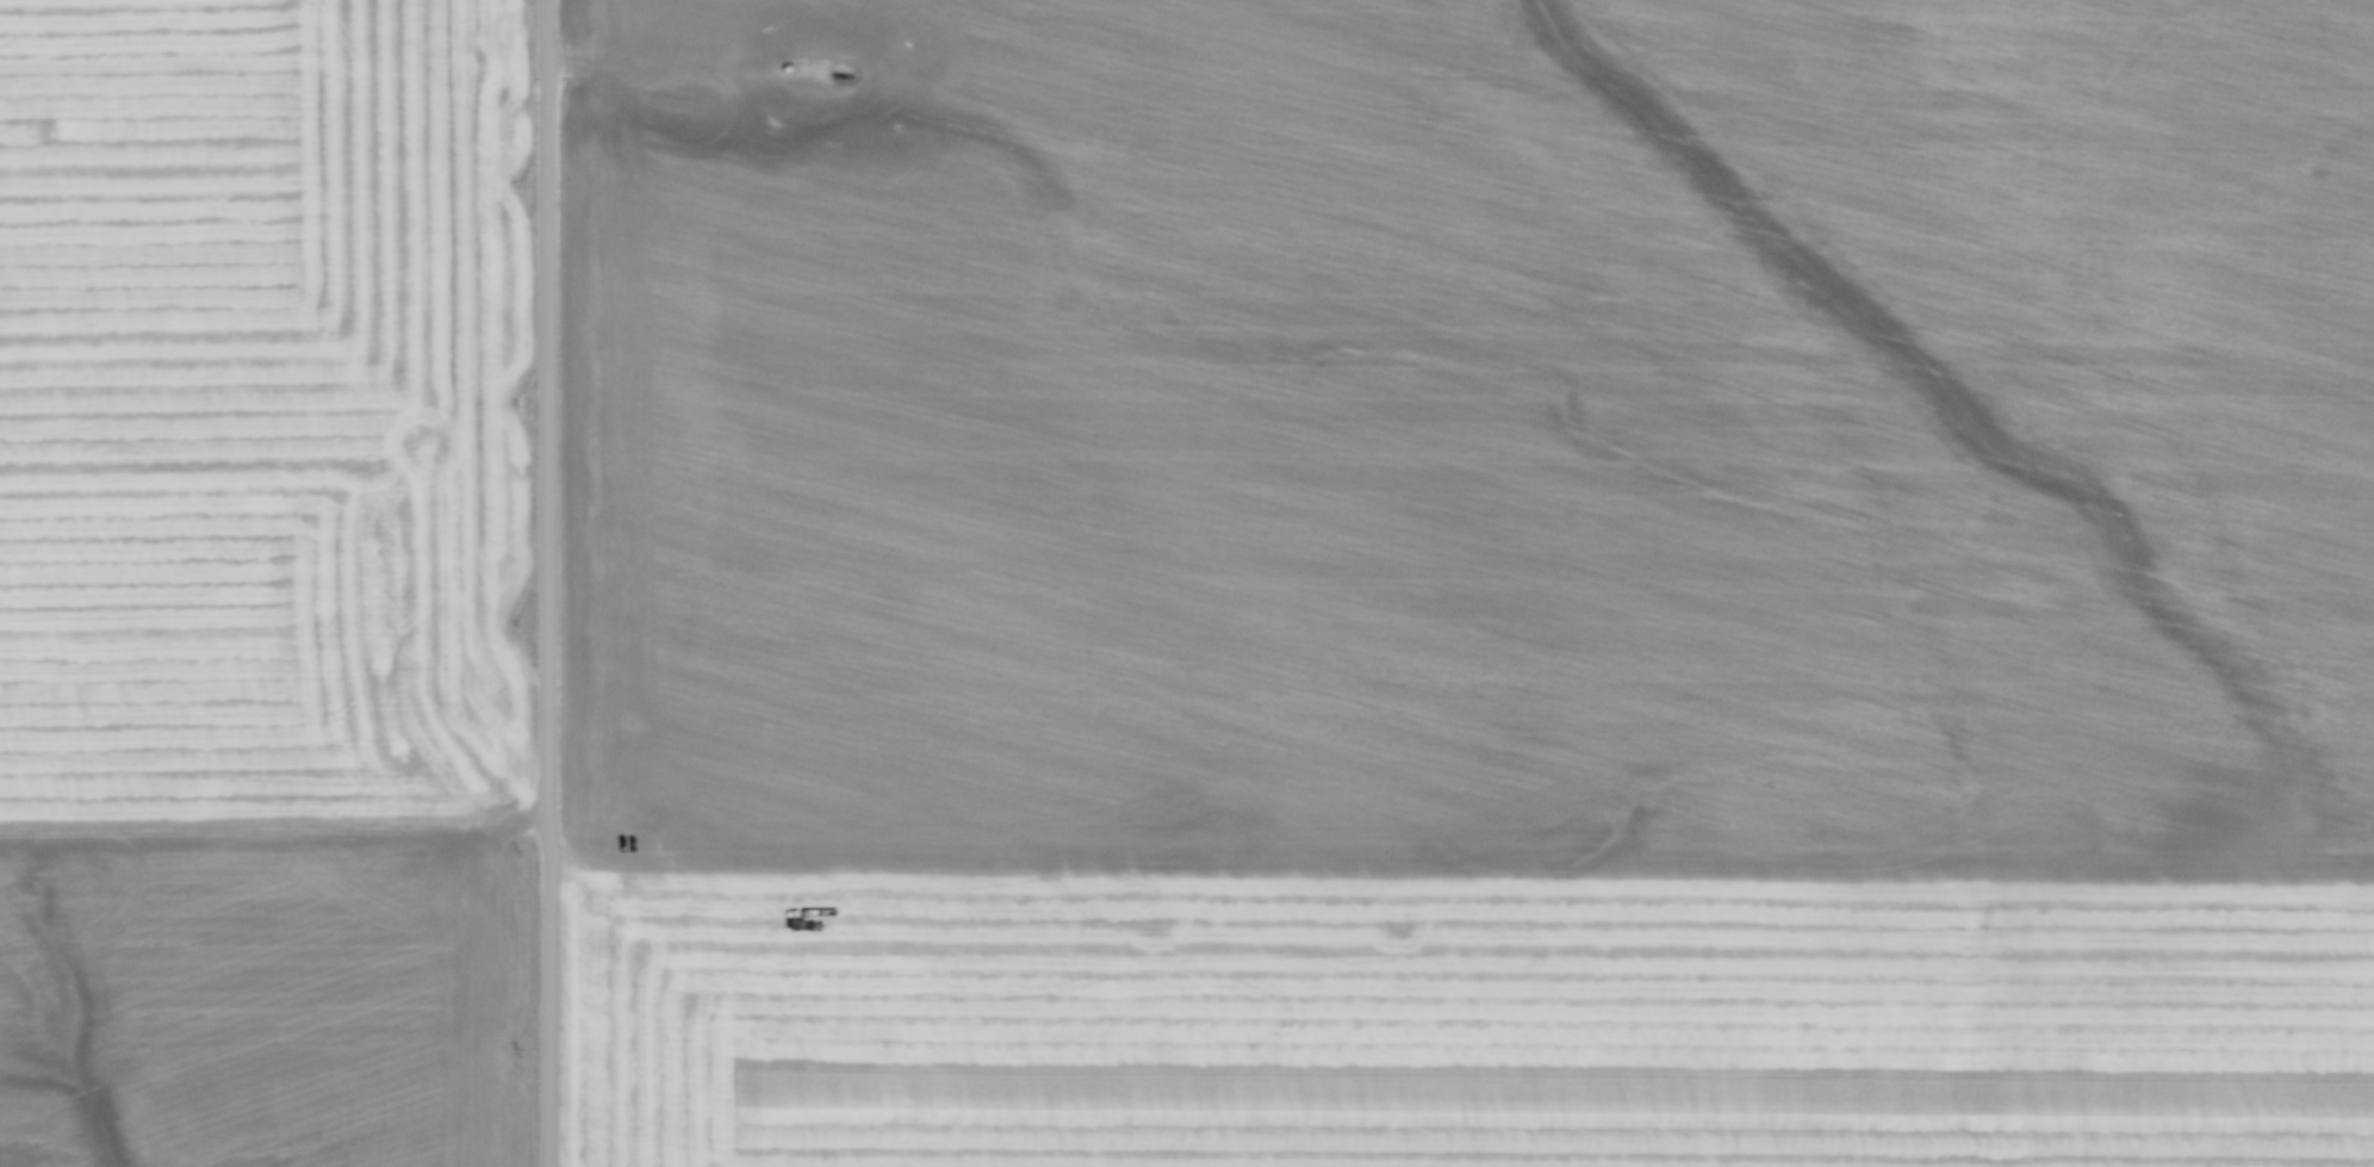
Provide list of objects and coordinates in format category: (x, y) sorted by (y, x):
crop: (263, 583)
road: (549, 583)
crop: (1472, 583)

